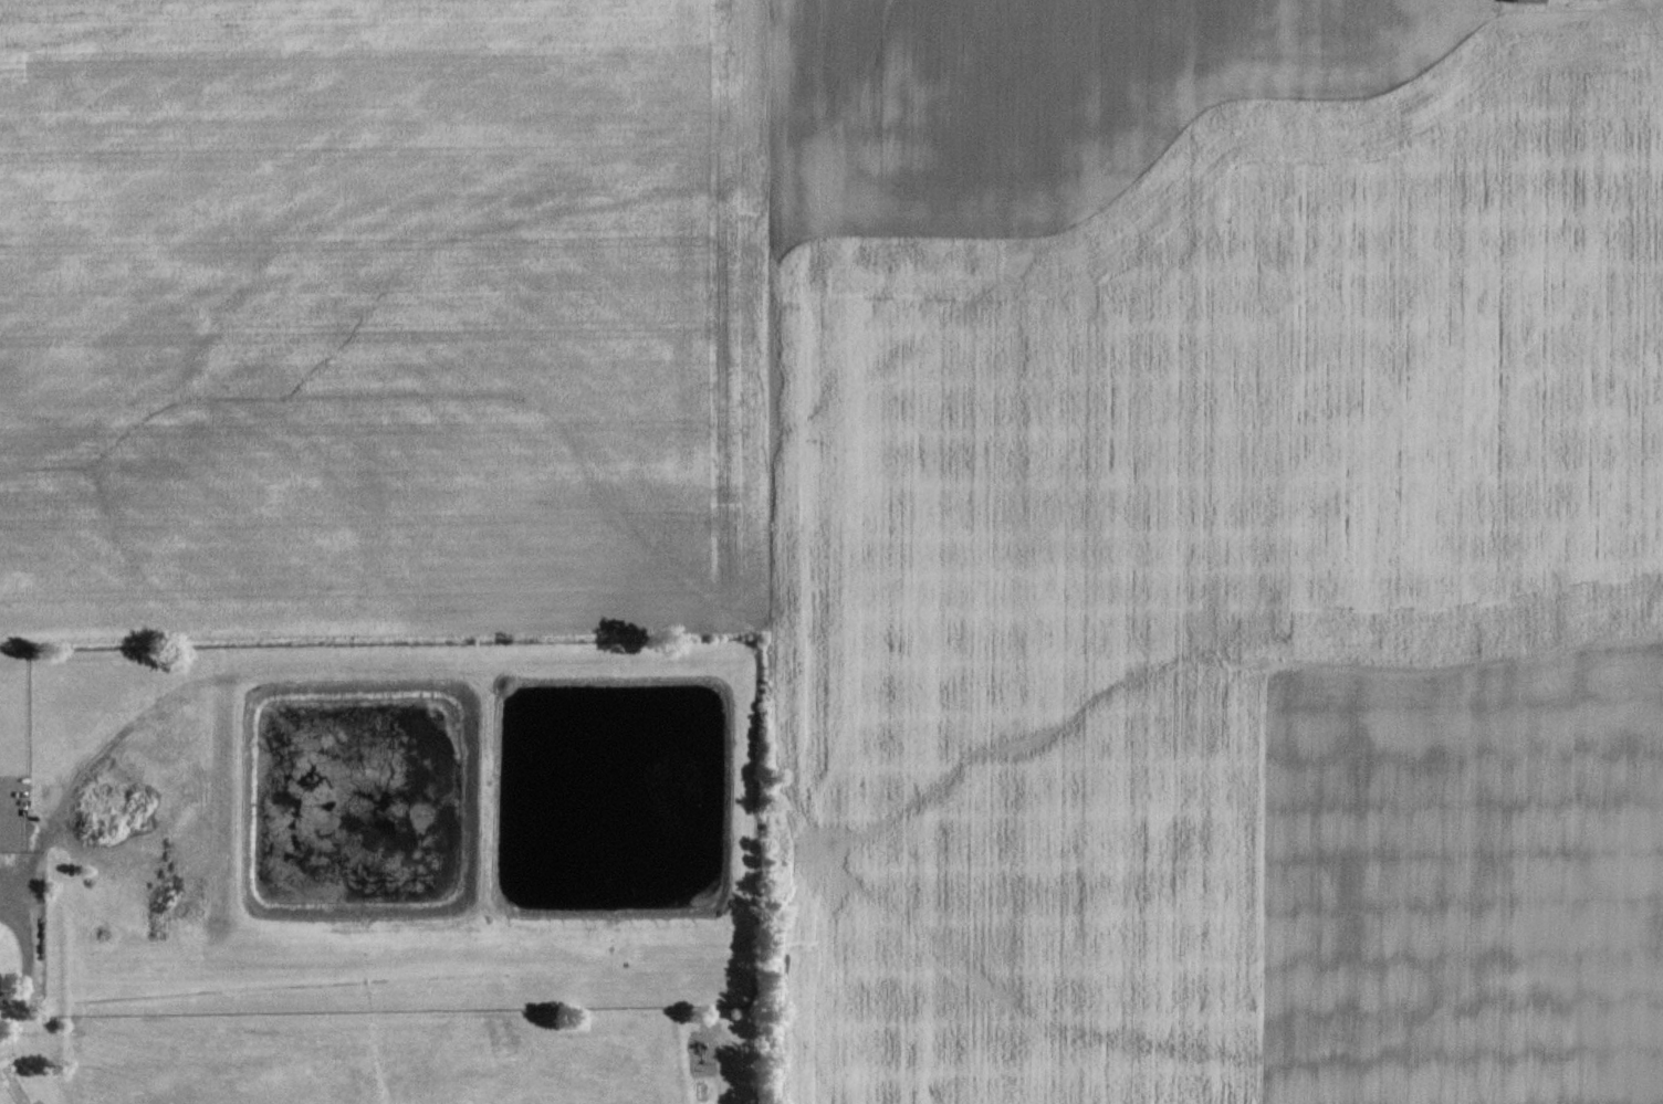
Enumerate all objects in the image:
road: (27, 958)
building: (18, 1082)

